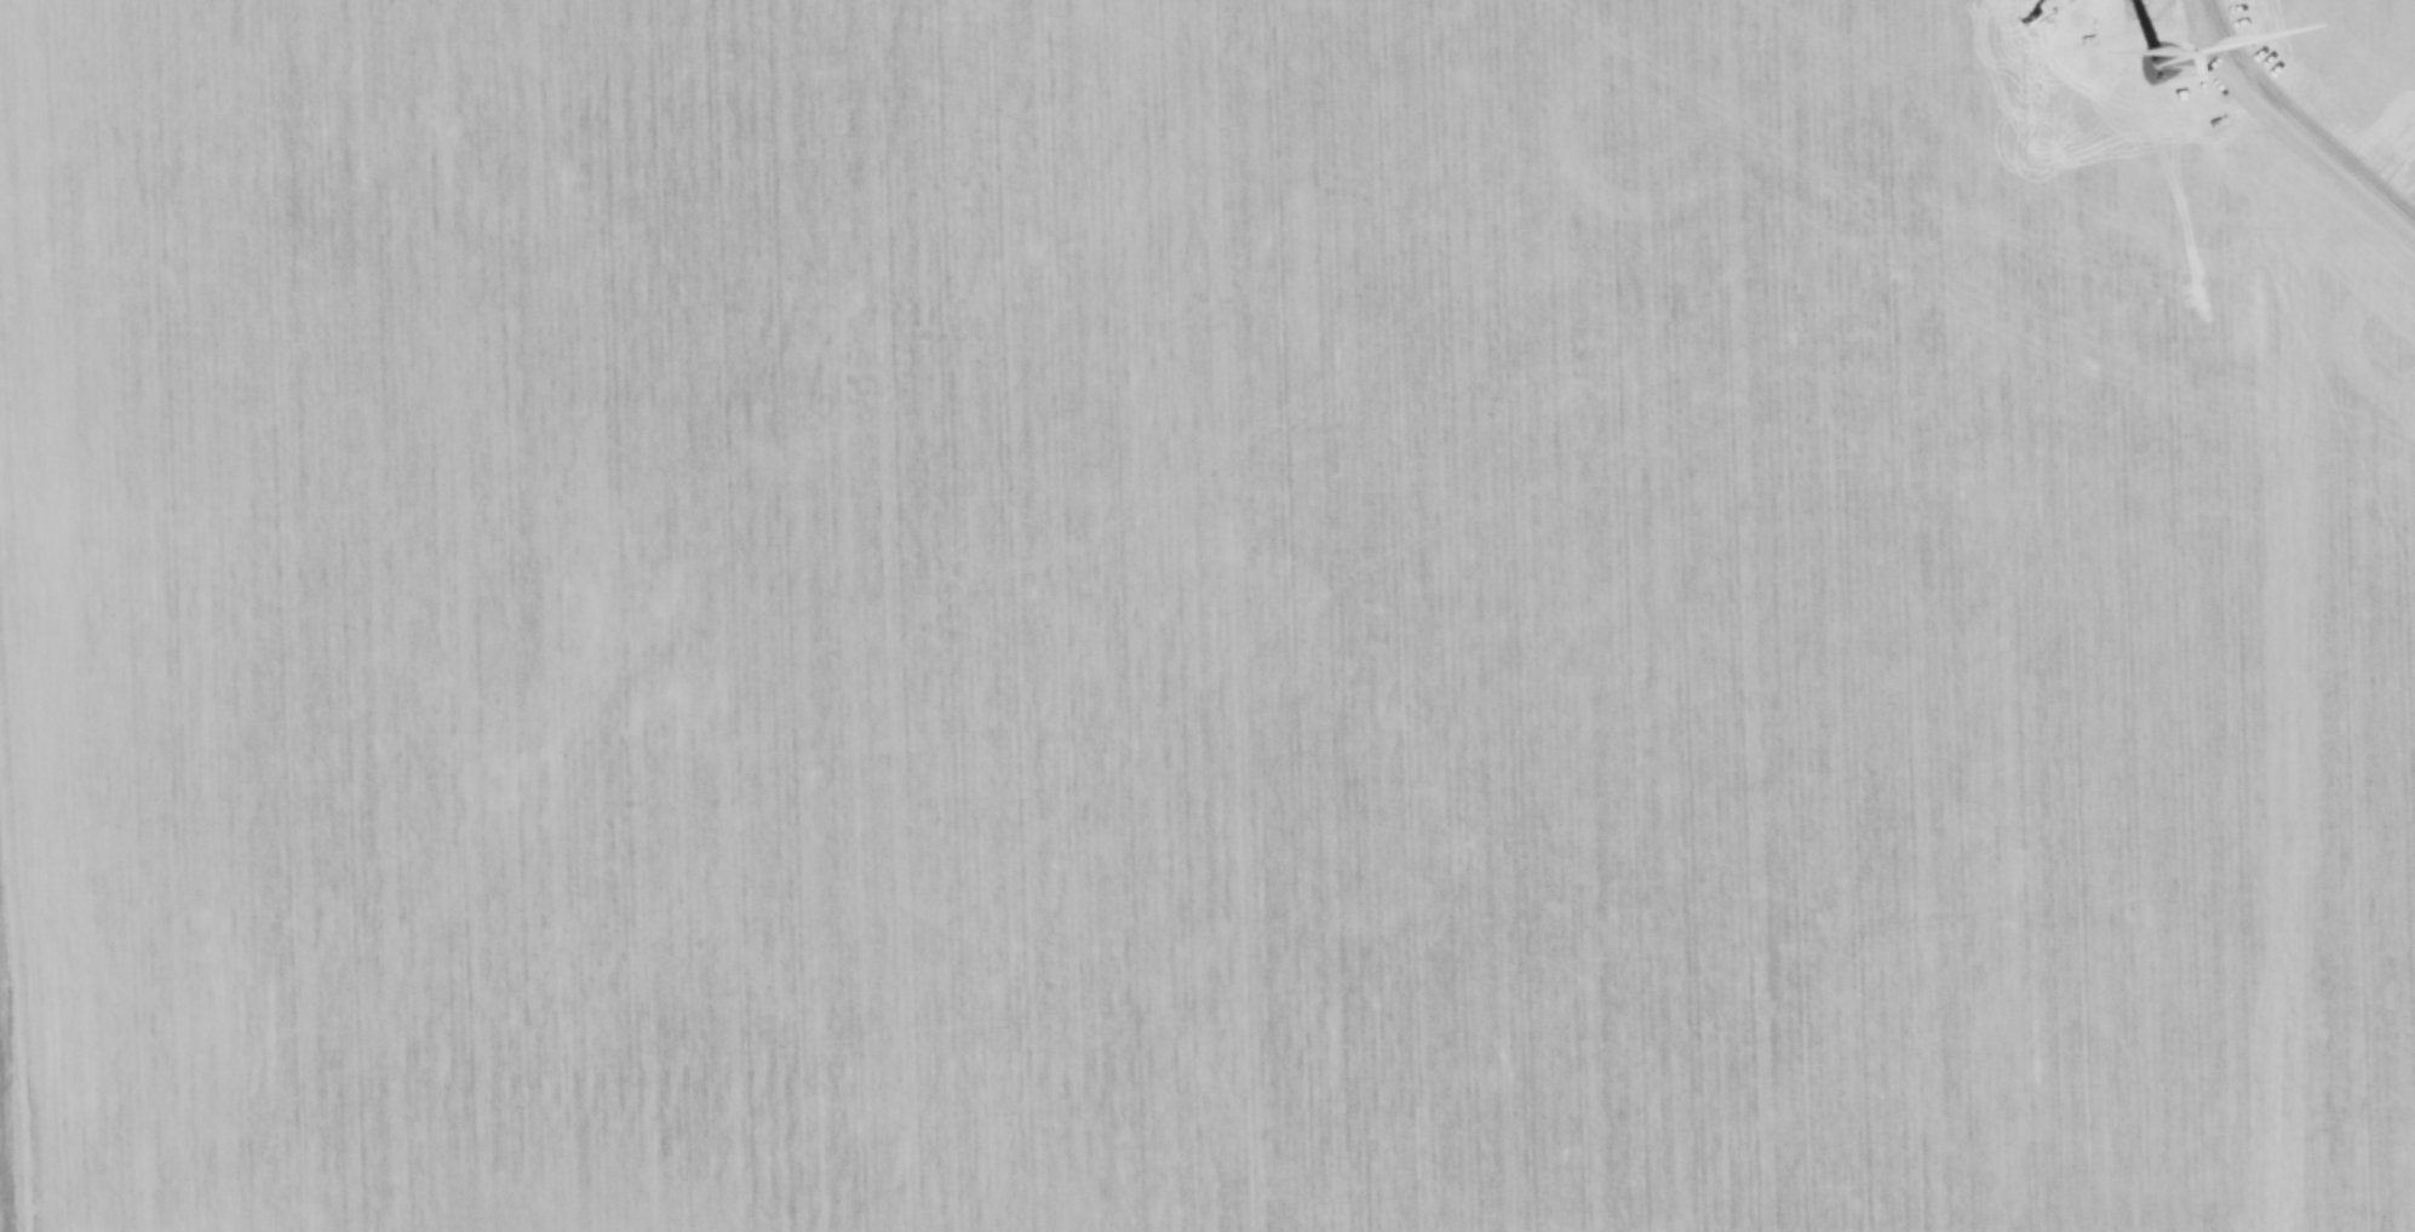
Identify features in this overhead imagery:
wind turbine: (2150, 75)
road: (2302, 115)

